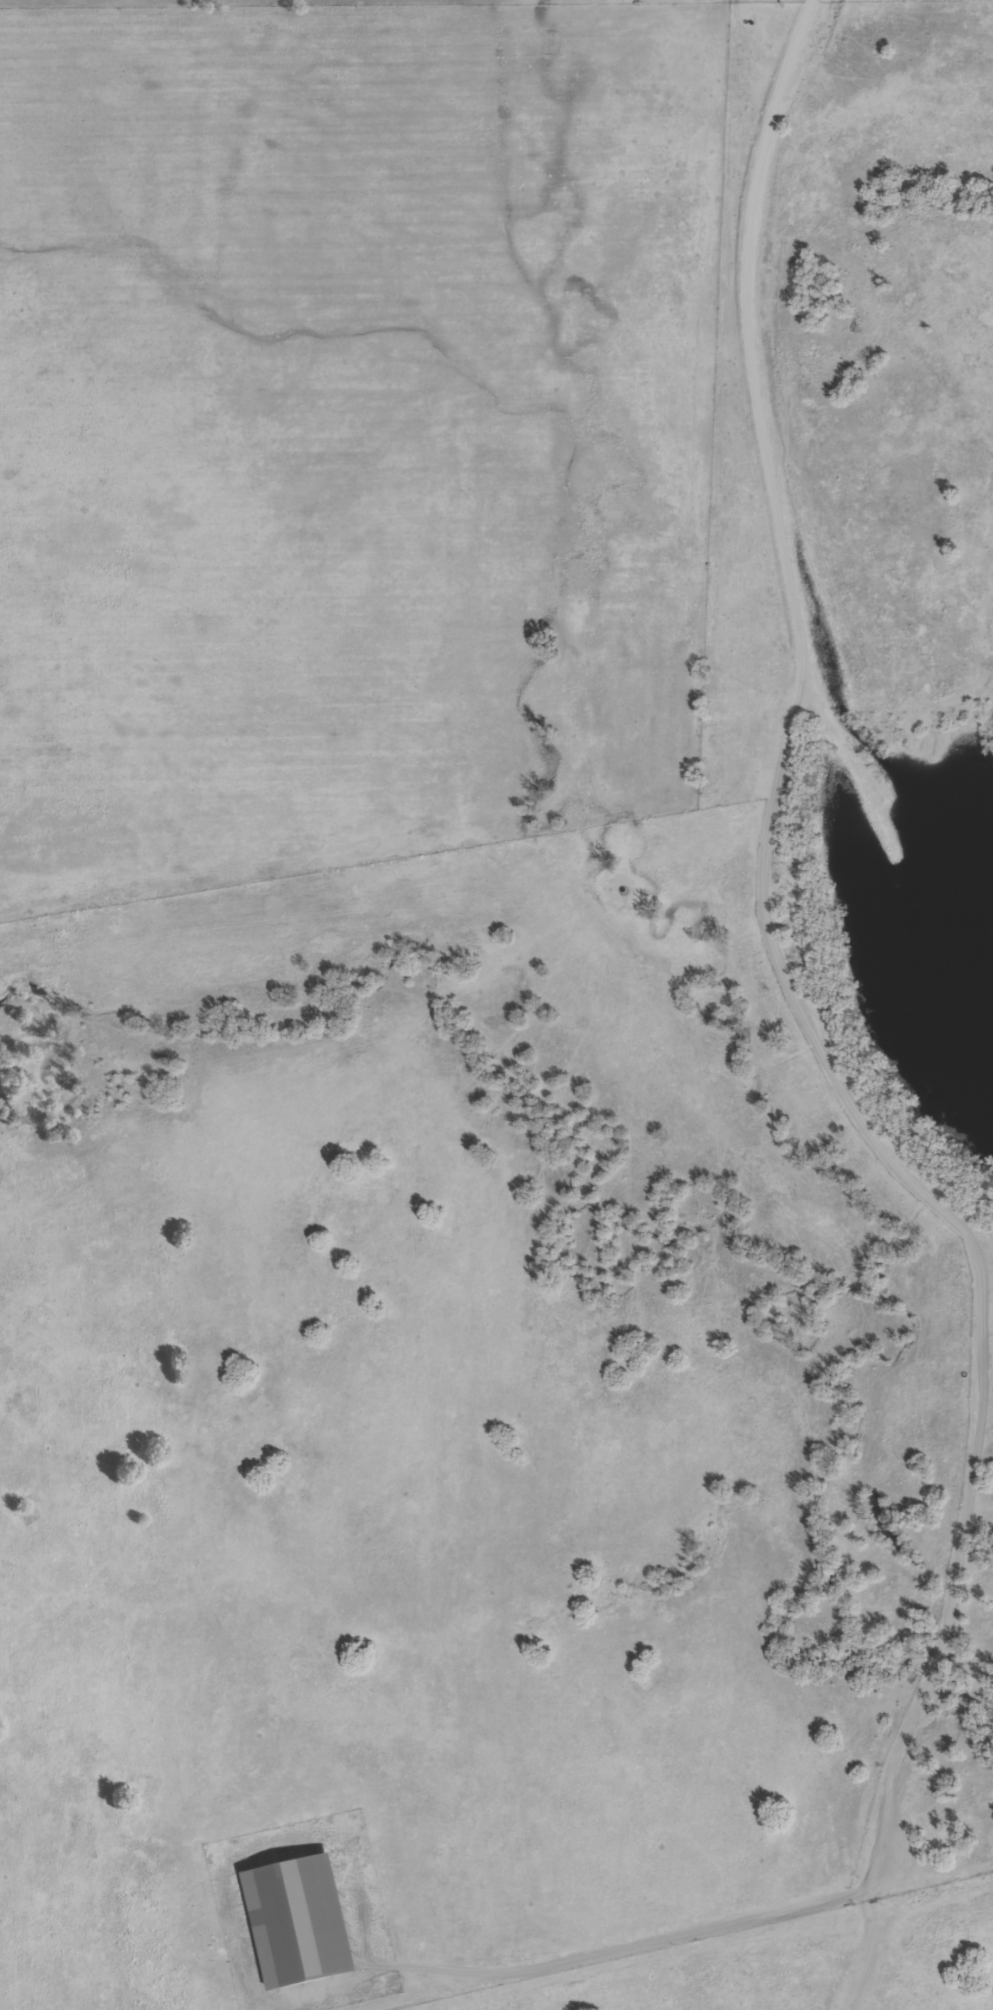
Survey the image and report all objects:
road: (797, 639)
road: (974, 1228)
road: (944, 1621)
building: (302, 1919)

